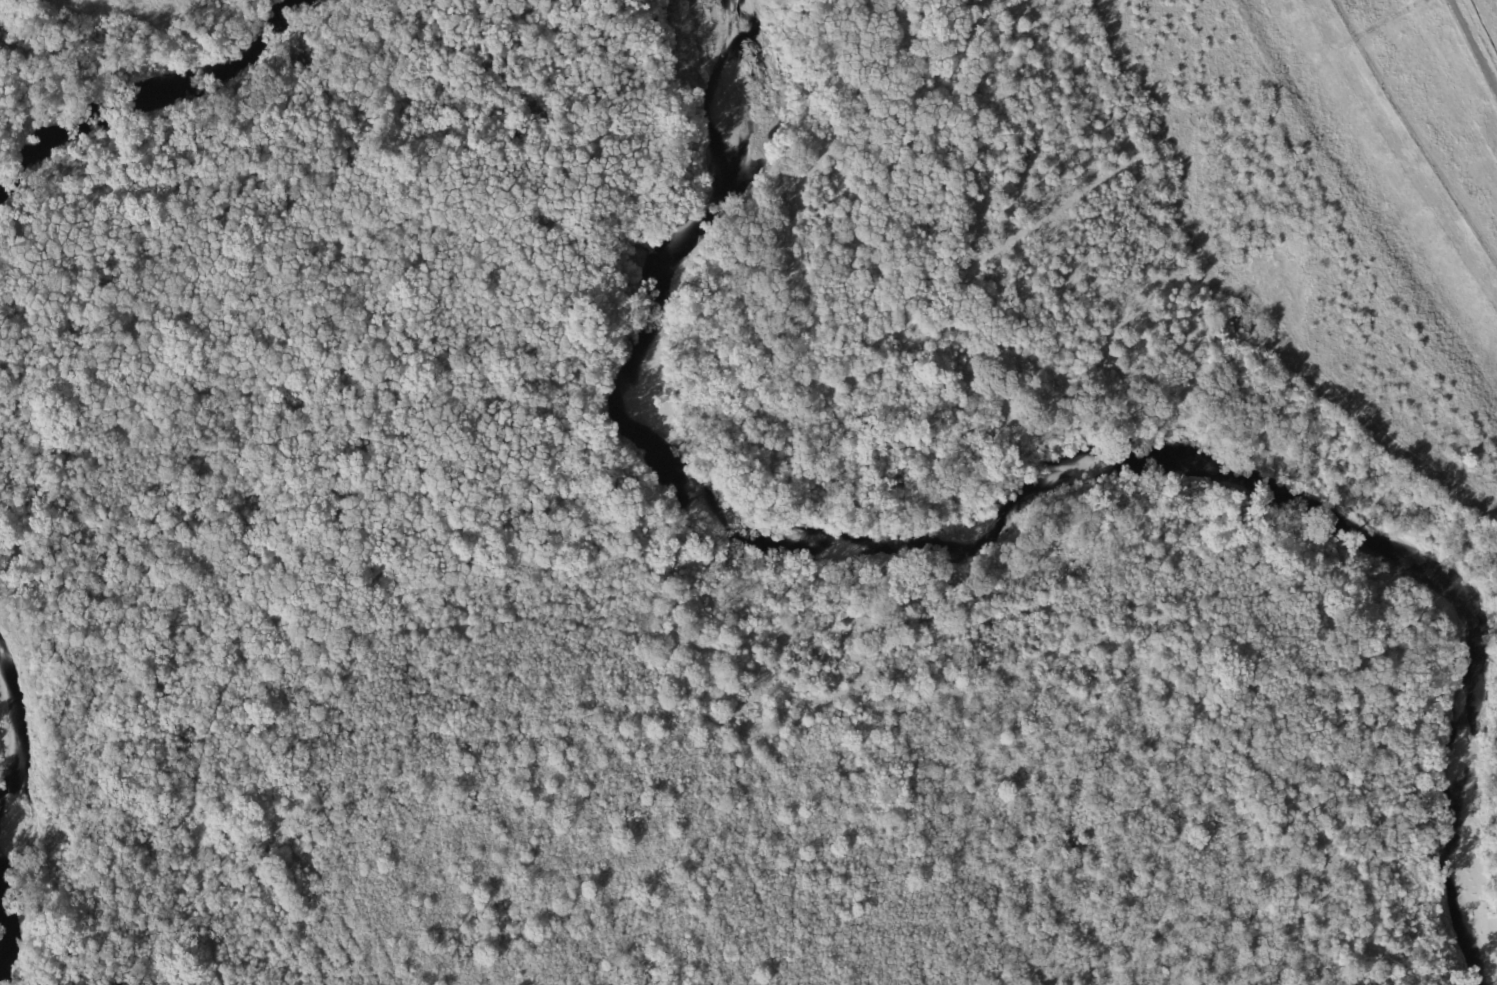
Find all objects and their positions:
road: (1472, 46)
road: (1310, 68)
river: (151, 92)
river: (961, 551)
river: (3, 781)

